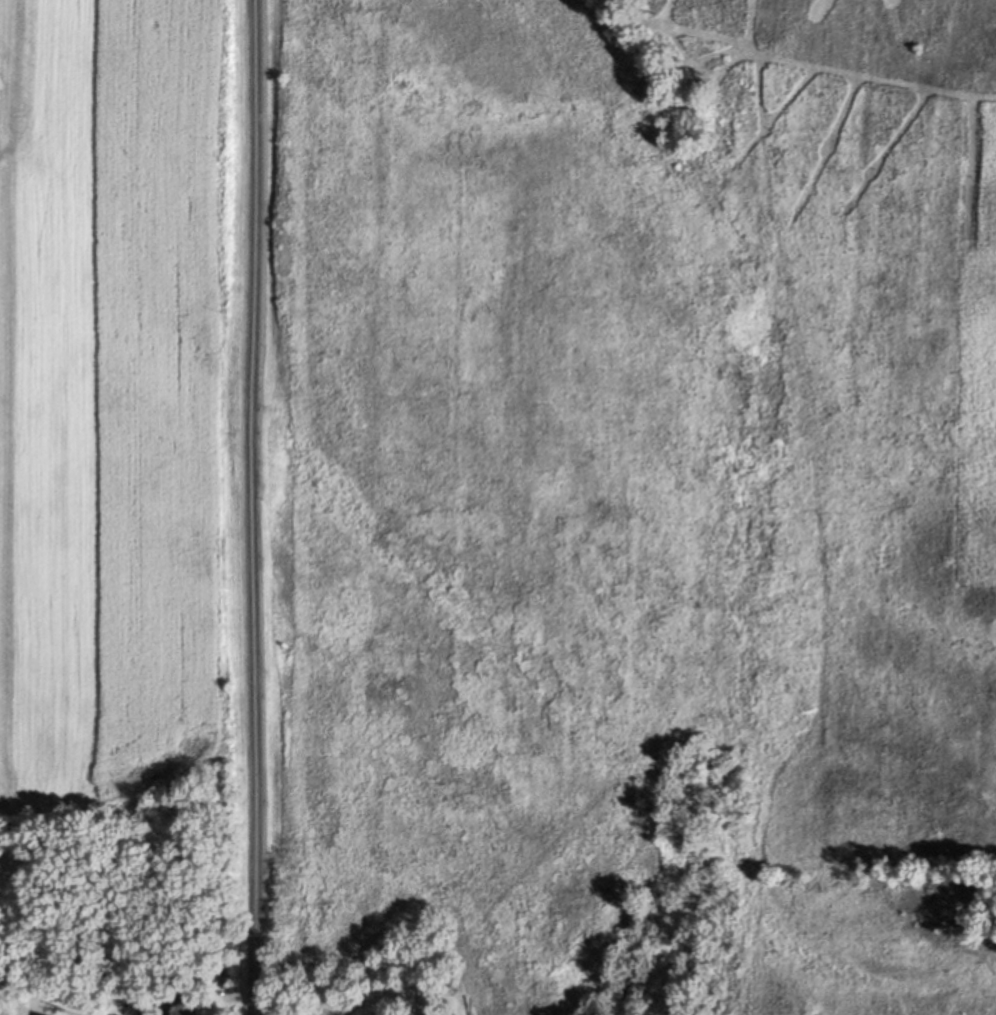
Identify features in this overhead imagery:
road: (28, 136)
road: (251, 507)
building: (167, 962)
building: (226, 980)
building: (179, 1004)
road: (421, 1009)

